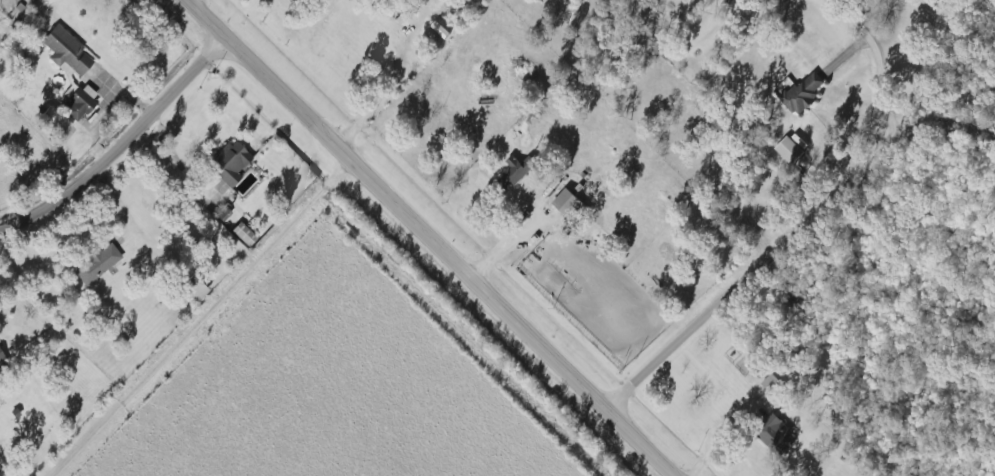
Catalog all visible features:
building: (63, 51)
road: (875, 62)
building: (67, 89)
building: (802, 92)
building: (79, 101)
road: (938, 105)
building: (53, 121)
road: (120, 143)
building: (787, 149)
road: (173, 159)
building: (226, 162)
building: (512, 173)
building: (217, 202)
building: (568, 205)
road: (432, 236)
building: (95, 263)
road: (745, 270)
building: (191, 290)
building: (775, 439)

